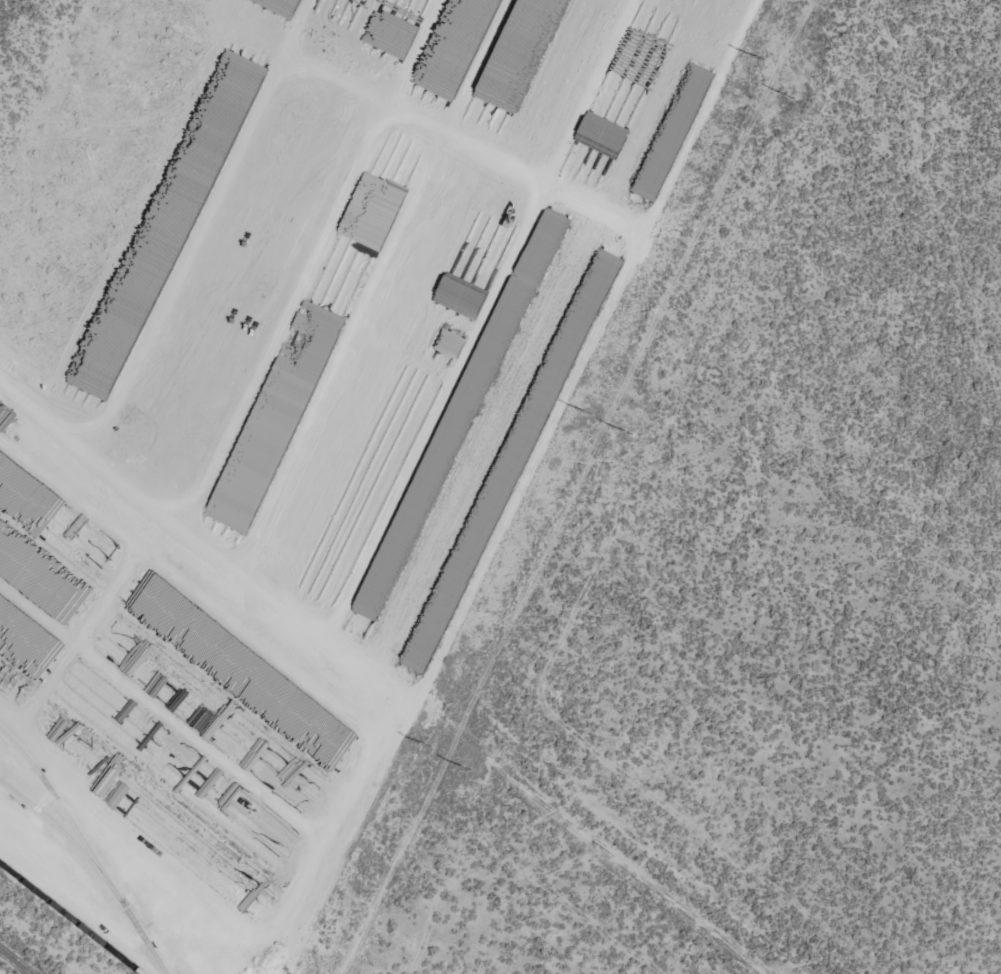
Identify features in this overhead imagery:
power tower: (761, 59)
building: (703, 77)
power tower: (791, 98)
building: (648, 190)
building: (599, 284)
building: (305, 325)
building: (451, 345)
power tower: (589, 414)
building: (462, 416)
power tower: (629, 434)
building: (252, 468)
building: (102, 553)
building: (428, 639)
building: (275, 691)
building: (332, 745)
power tower: (428, 745)
building: (272, 768)
power tower: (467, 768)
building: (119, 795)
building: (275, 835)
building: (193, 848)
railway: (14, 962)

